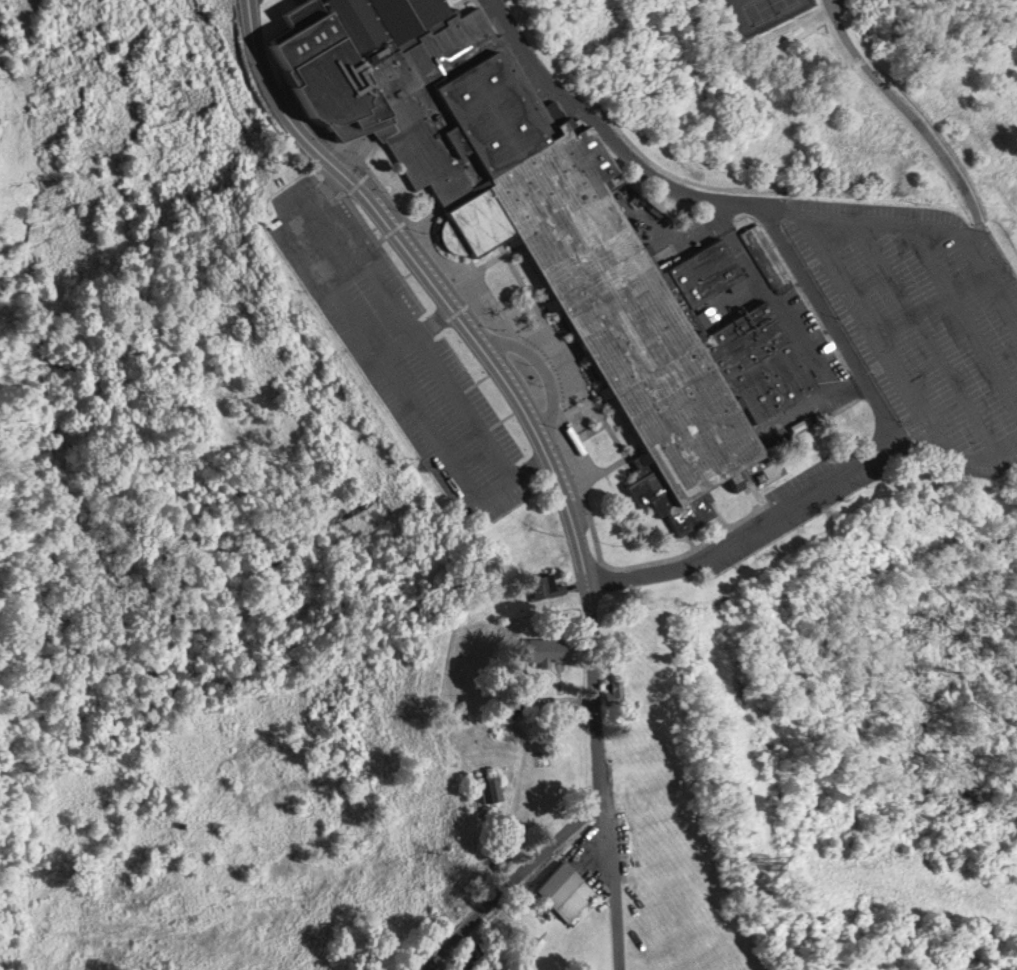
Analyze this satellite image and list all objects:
building: (331, 83)
road: (921, 115)
road: (609, 132)
road: (786, 211)
road: (939, 229)
building: (576, 248)
building: (770, 252)
road: (426, 270)
road: (966, 315)
road: (419, 333)
road: (931, 335)
road: (422, 339)
road: (387, 365)
road: (895, 367)
road: (907, 428)
road: (859, 463)
building: (539, 647)
building: (487, 787)
road: (601, 803)
road: (616, 887)
building: (563, 889)

